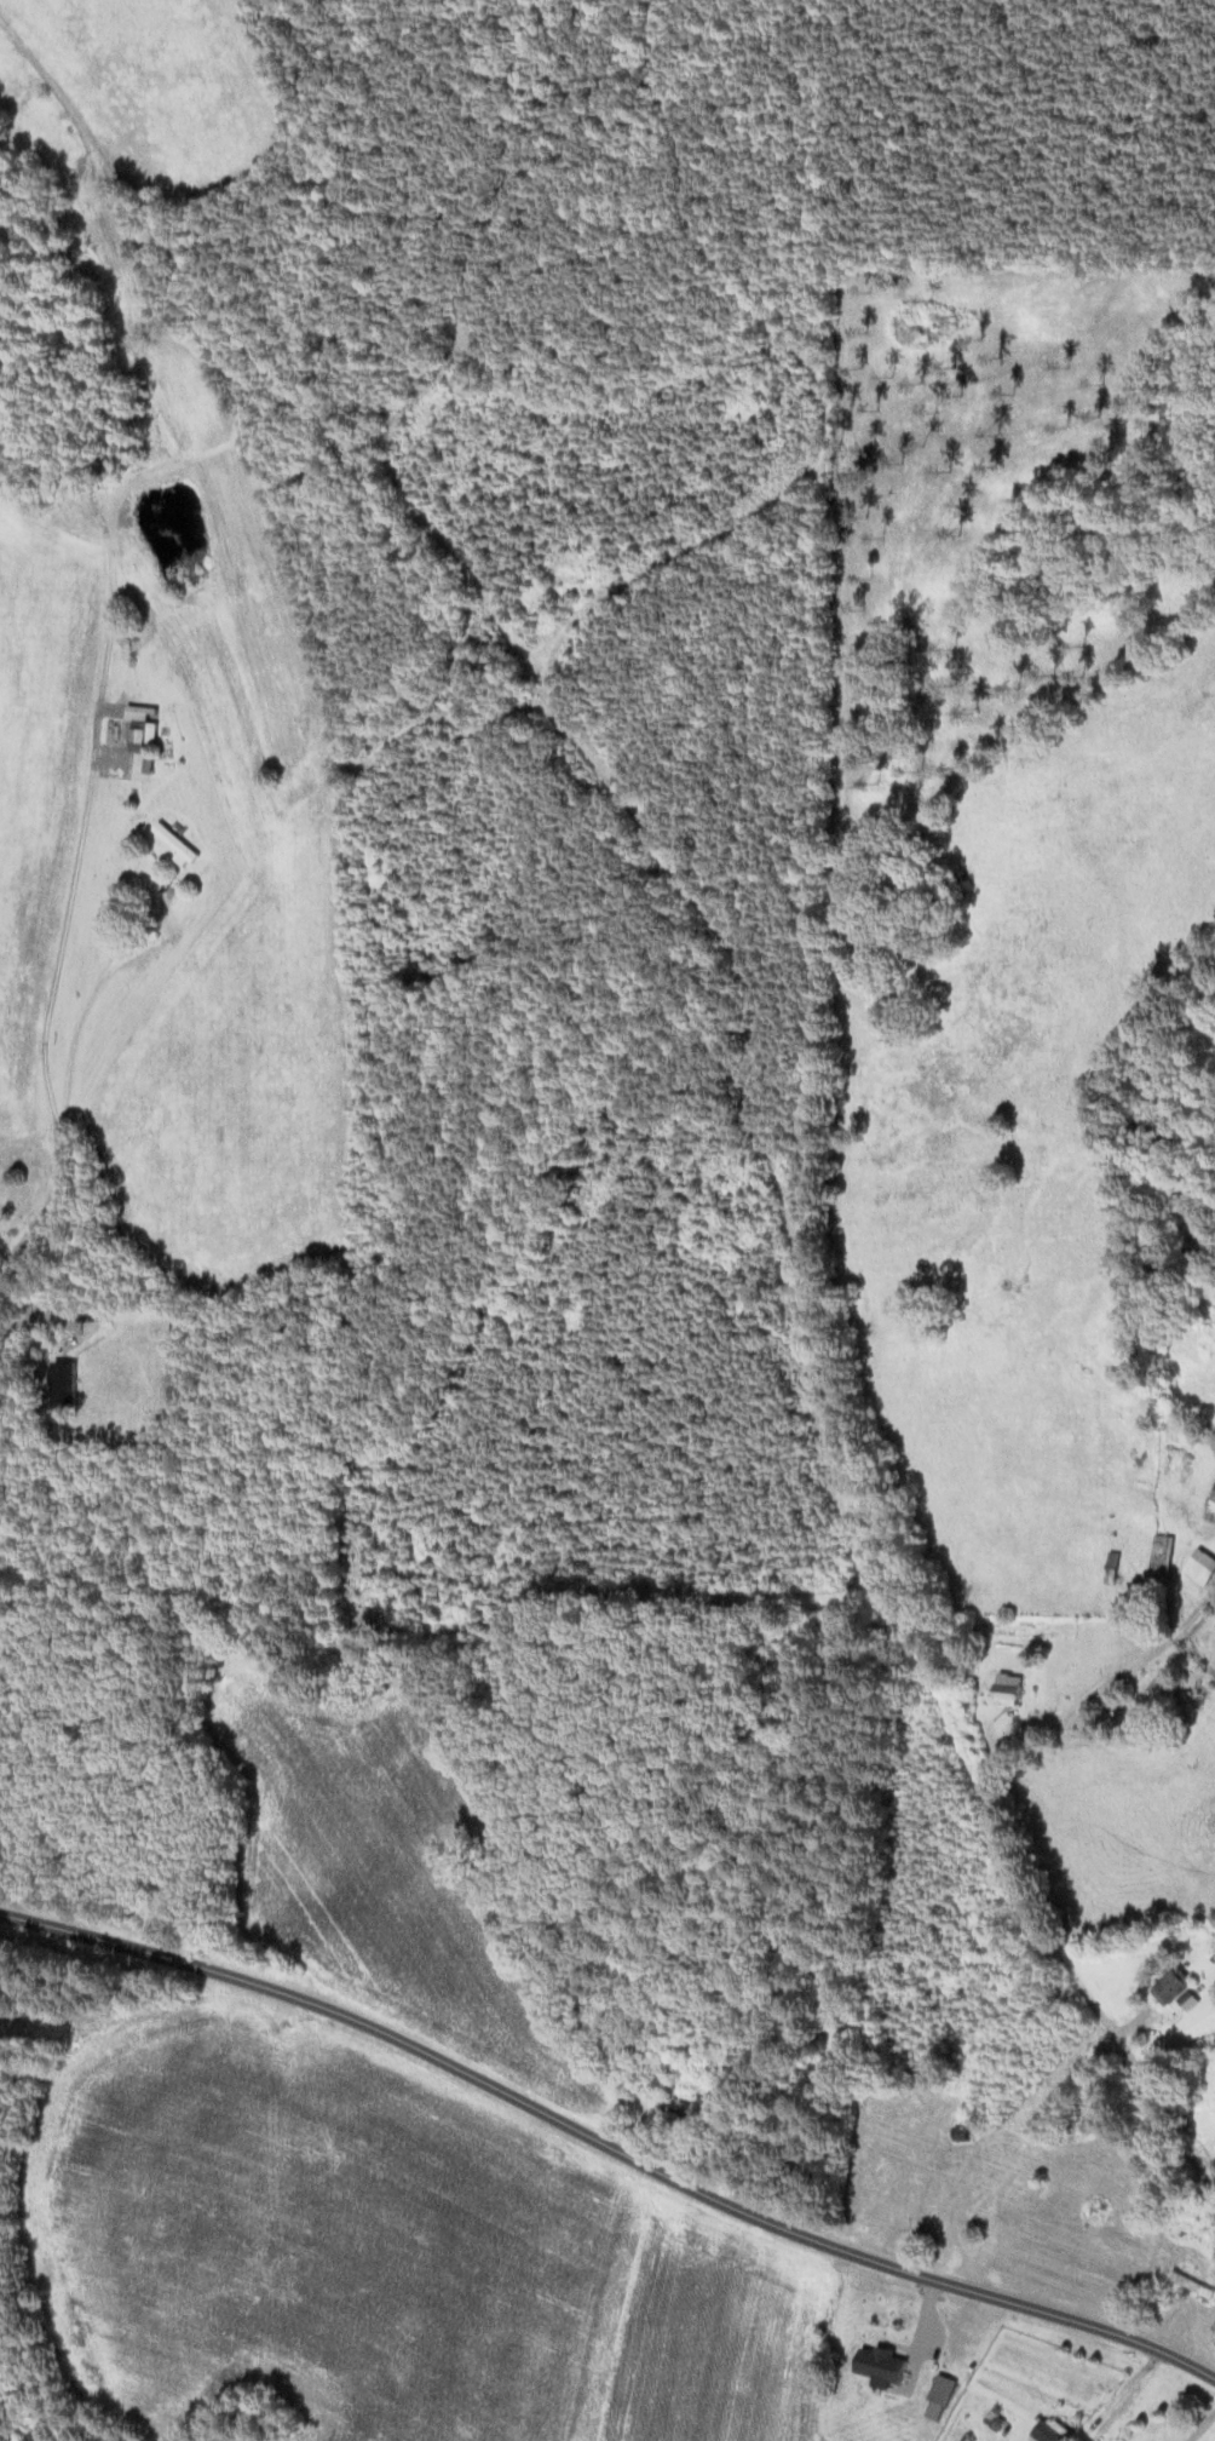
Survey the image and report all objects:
building: (142, 739)
building: (177, 848)
road: (63, 936)
road: (68, 1084)
building: (1163, 1563)
building: (1203, 1569)
road: (1154, 1652)
building: (1013, 1692)
building: (1165, 1693)
road: (1058, 1943)
building: (1174, 1988)
building: (1094, 2127)
building: (968, 2136)
road: (607, 2142)
building: (1193, 2287)
building: (879, 2366)
road: (1127, 2397)
building: (943, 2399)
road: (1207, 2431)
building: (1054, 2434)

